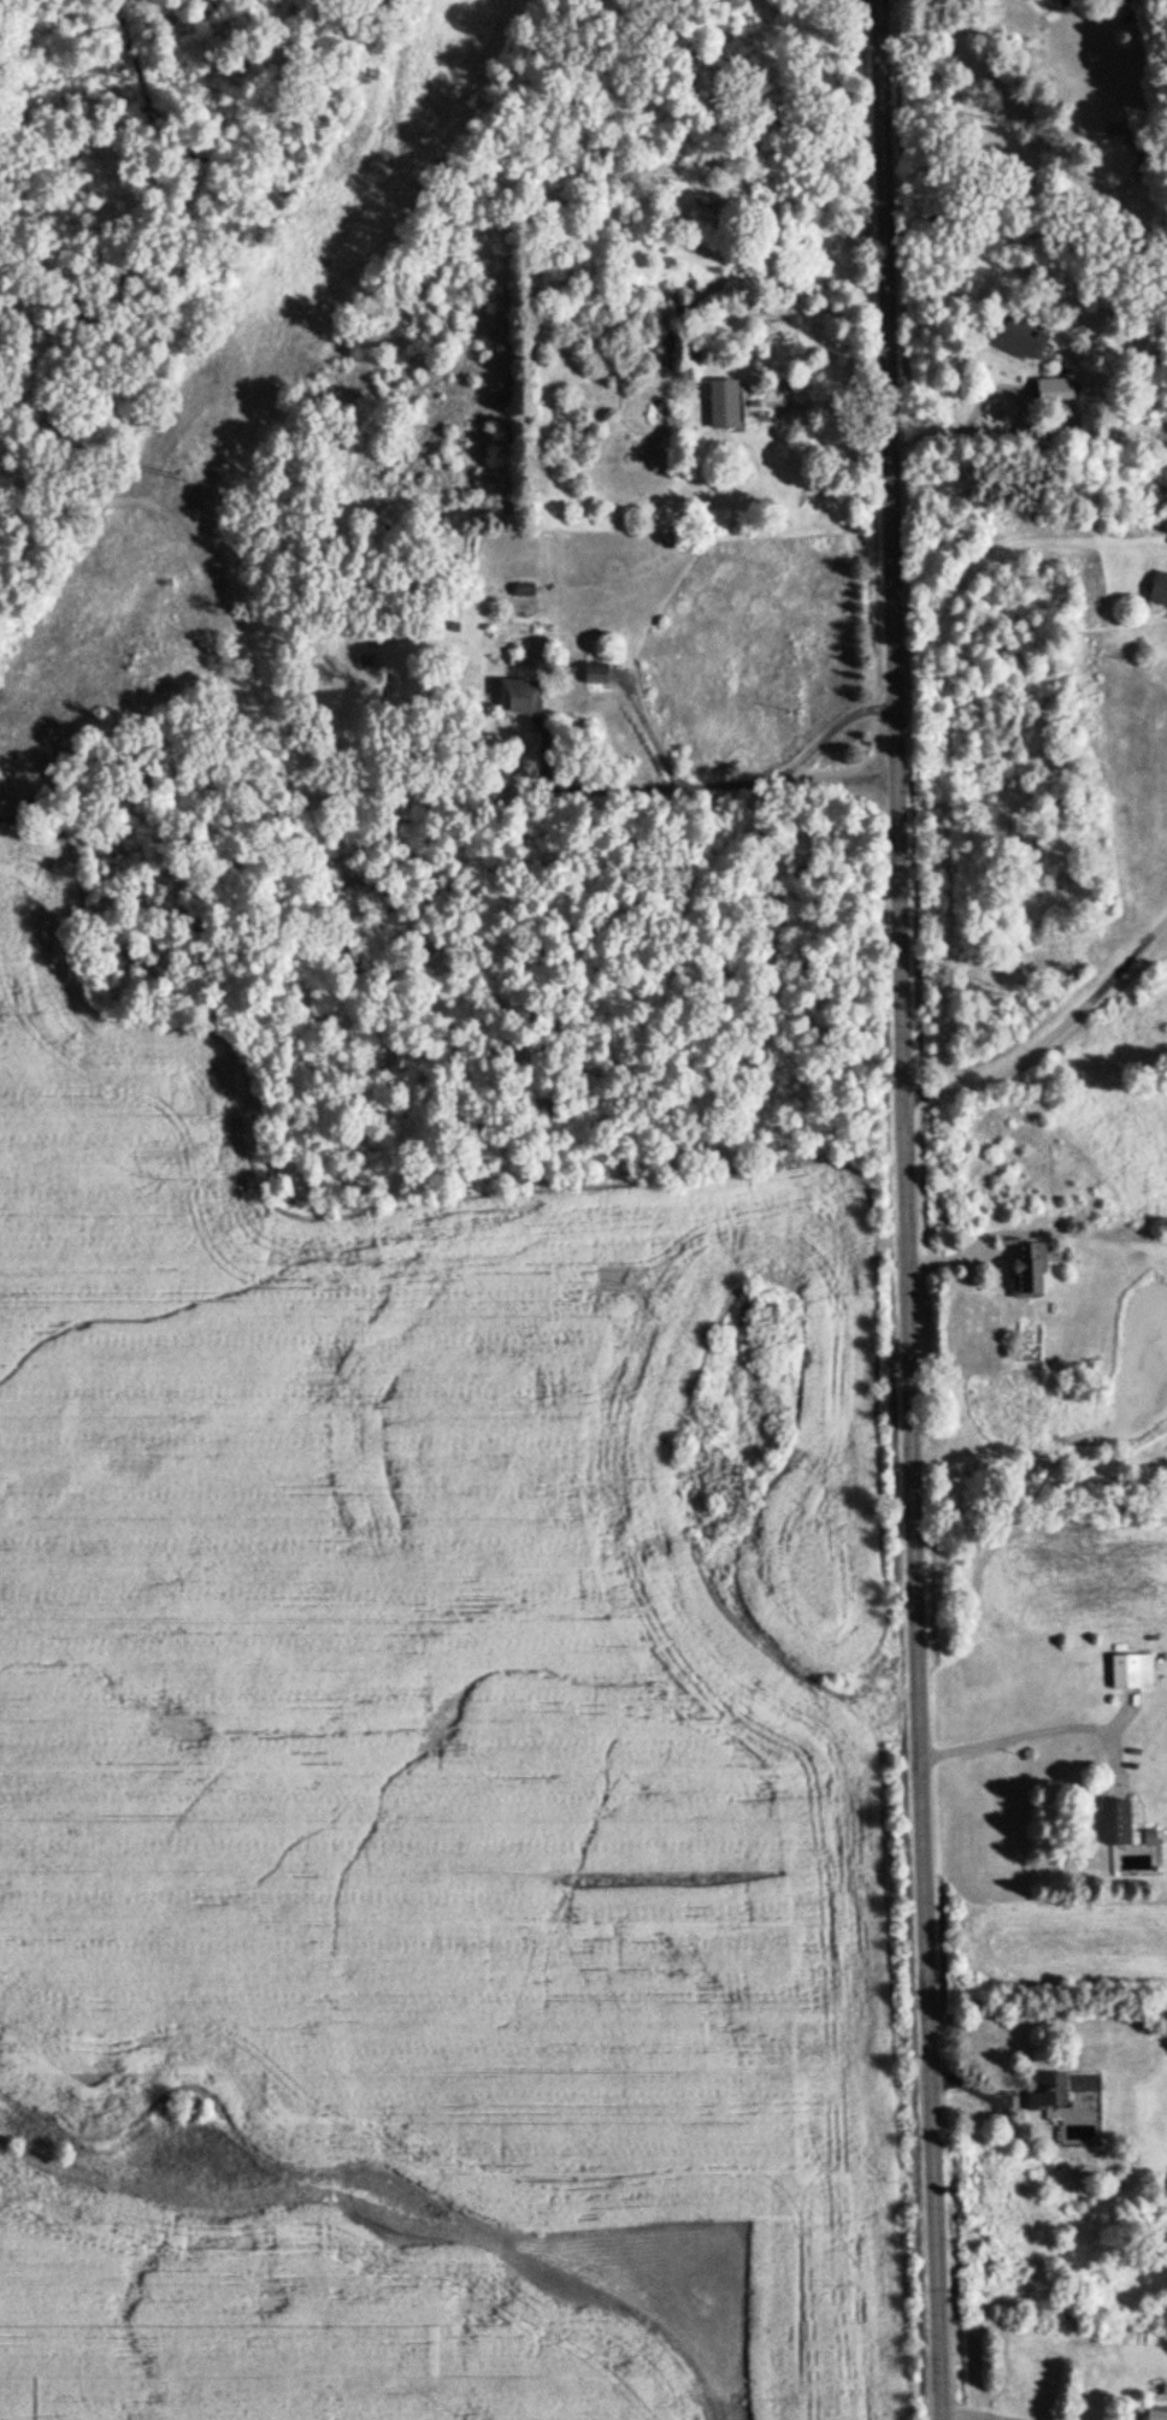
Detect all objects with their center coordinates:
road: (871, 5)
building: (1022, 338)
building: (1059, 392)
road: (826, 402)
building: (727, 406)
power tower: (176, 477)
building: (1160, 591)
building: (600, 673)
building: (524, 696)
road: (829, 730)
road: (725, 785)
road: (1054, 1032)
road: (913, 1209)
building: (1031, 1270)
crop: (432, 1664)
building: (1132, 1672)
road: (1025, 1740)
building: (1118, 1823)
building: (1050, 2094)
crop: (284, 2319)
building: (1159, 2414)
road: (968, 2418)

